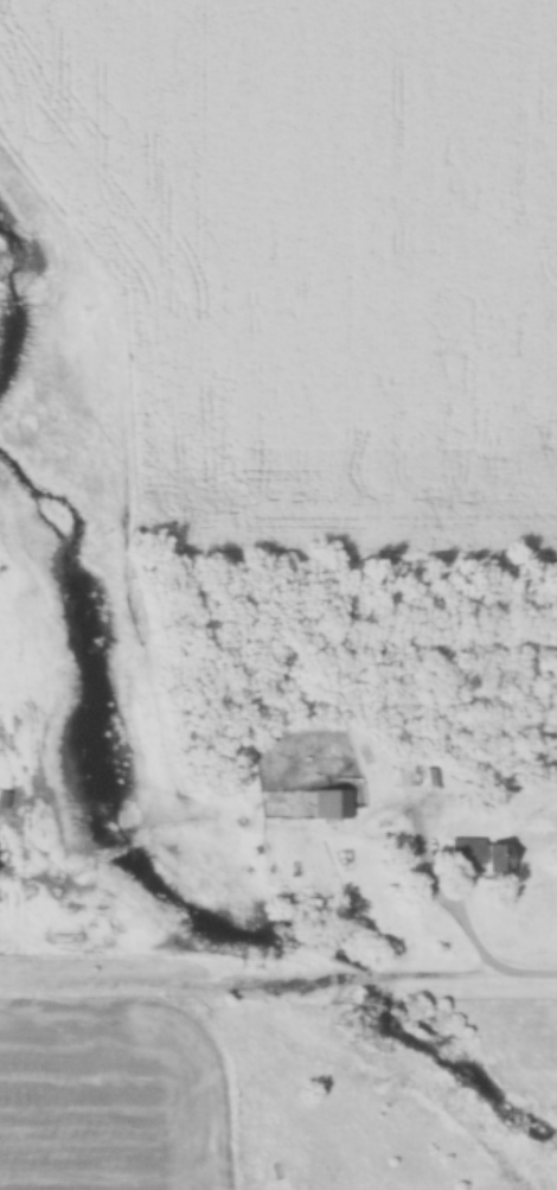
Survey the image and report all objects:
building: (331, 804)
building: (476, 854)
road: (278, 982)

